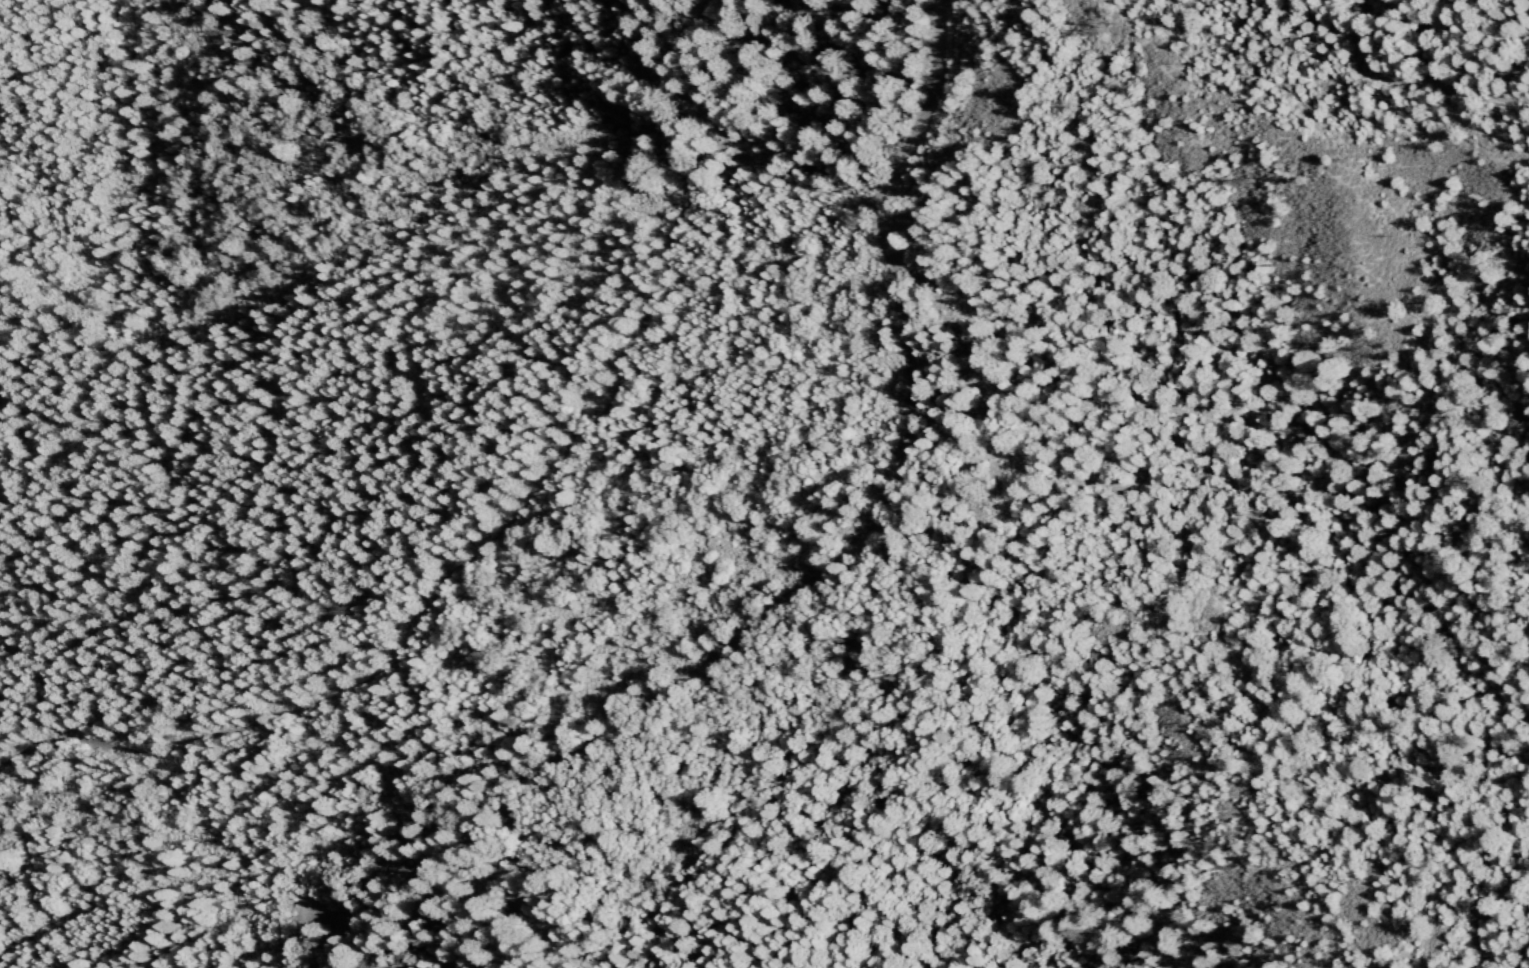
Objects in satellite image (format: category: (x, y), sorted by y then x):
road: (1422, 66)
road: (944, 107)
road: (497, 520)
road: (802, 593)

